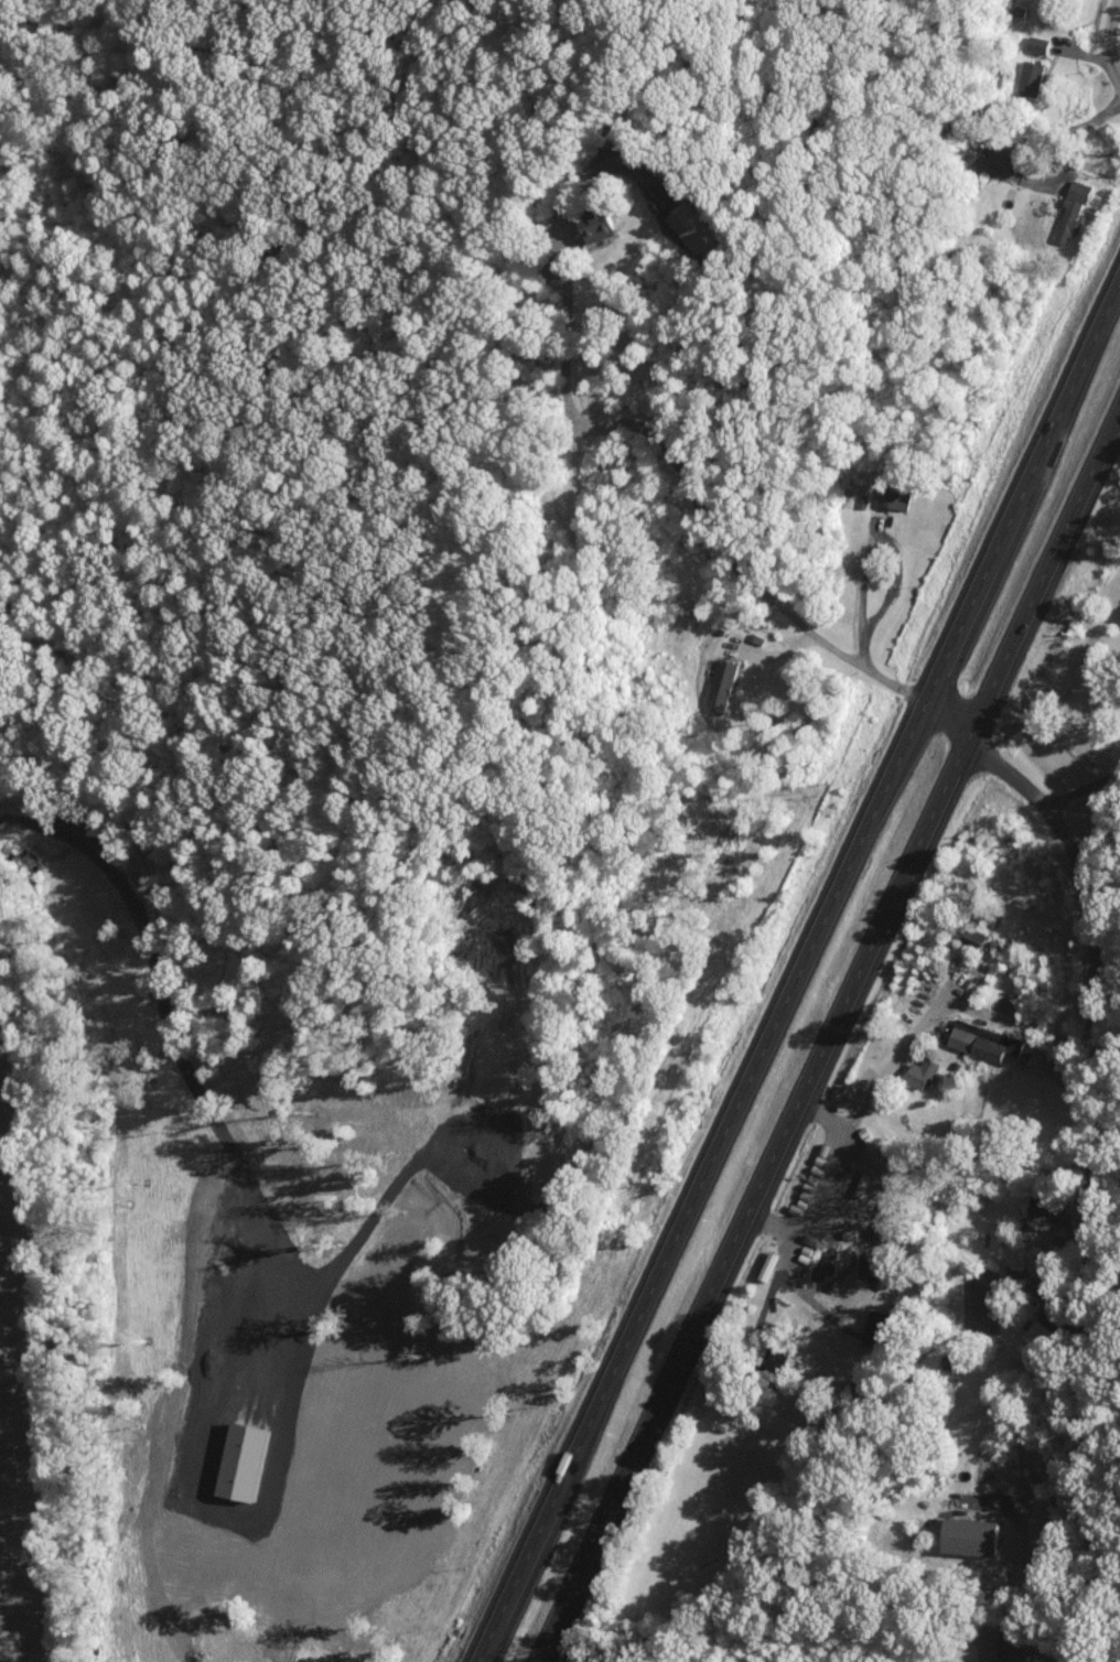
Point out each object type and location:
road: (1105, 44)
building: (1030, 77)
road: (1020, 138)
building: (1071, 211)
building: (602, 224)
building: (696, 227)
road: (688, 479)
road: (1020, 488)
building: (894, 497)
road: (1042, 572)
road: (854, 593)
building: (722, 684)
road: (1086, 783)
building: (984, 1040)
road: (891, 1053)
building: (923, 1071)
road: (1091, 1147)
road: (688, 1178)
road: (746, 1199)
building: (1045, 1227)
road: (1037, 1295)
building: (877, 1327)
building: (1035, 1334)
building: (976, 1535)
road: (1031, 1580)

